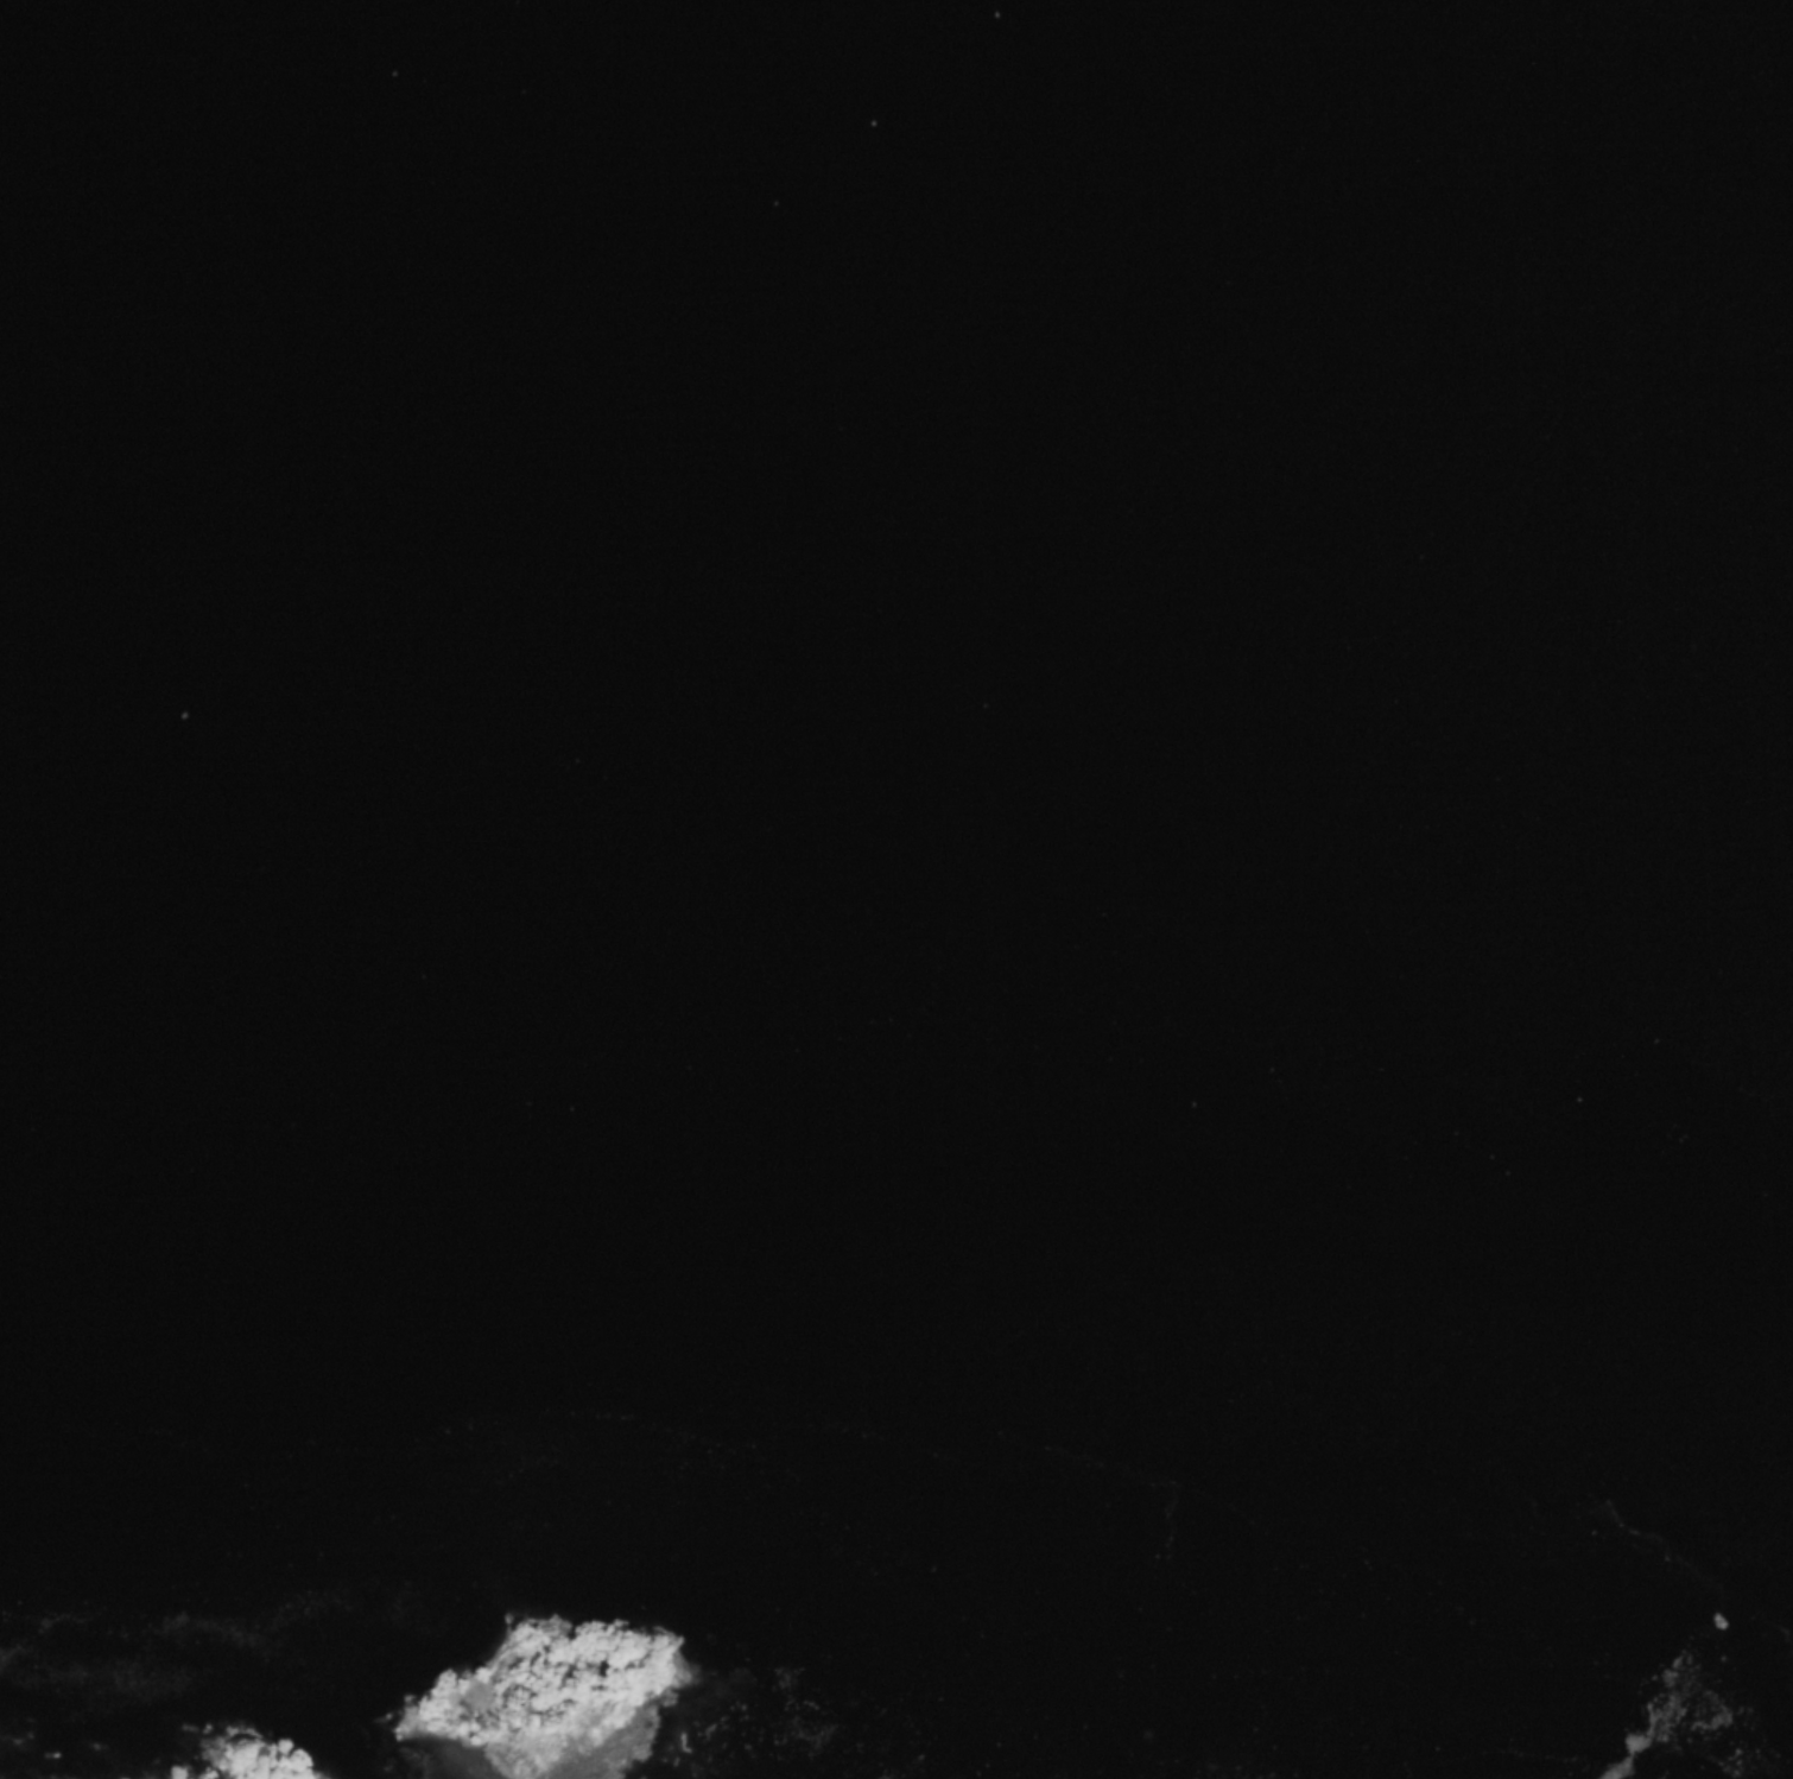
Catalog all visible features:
river: (900, 238)

